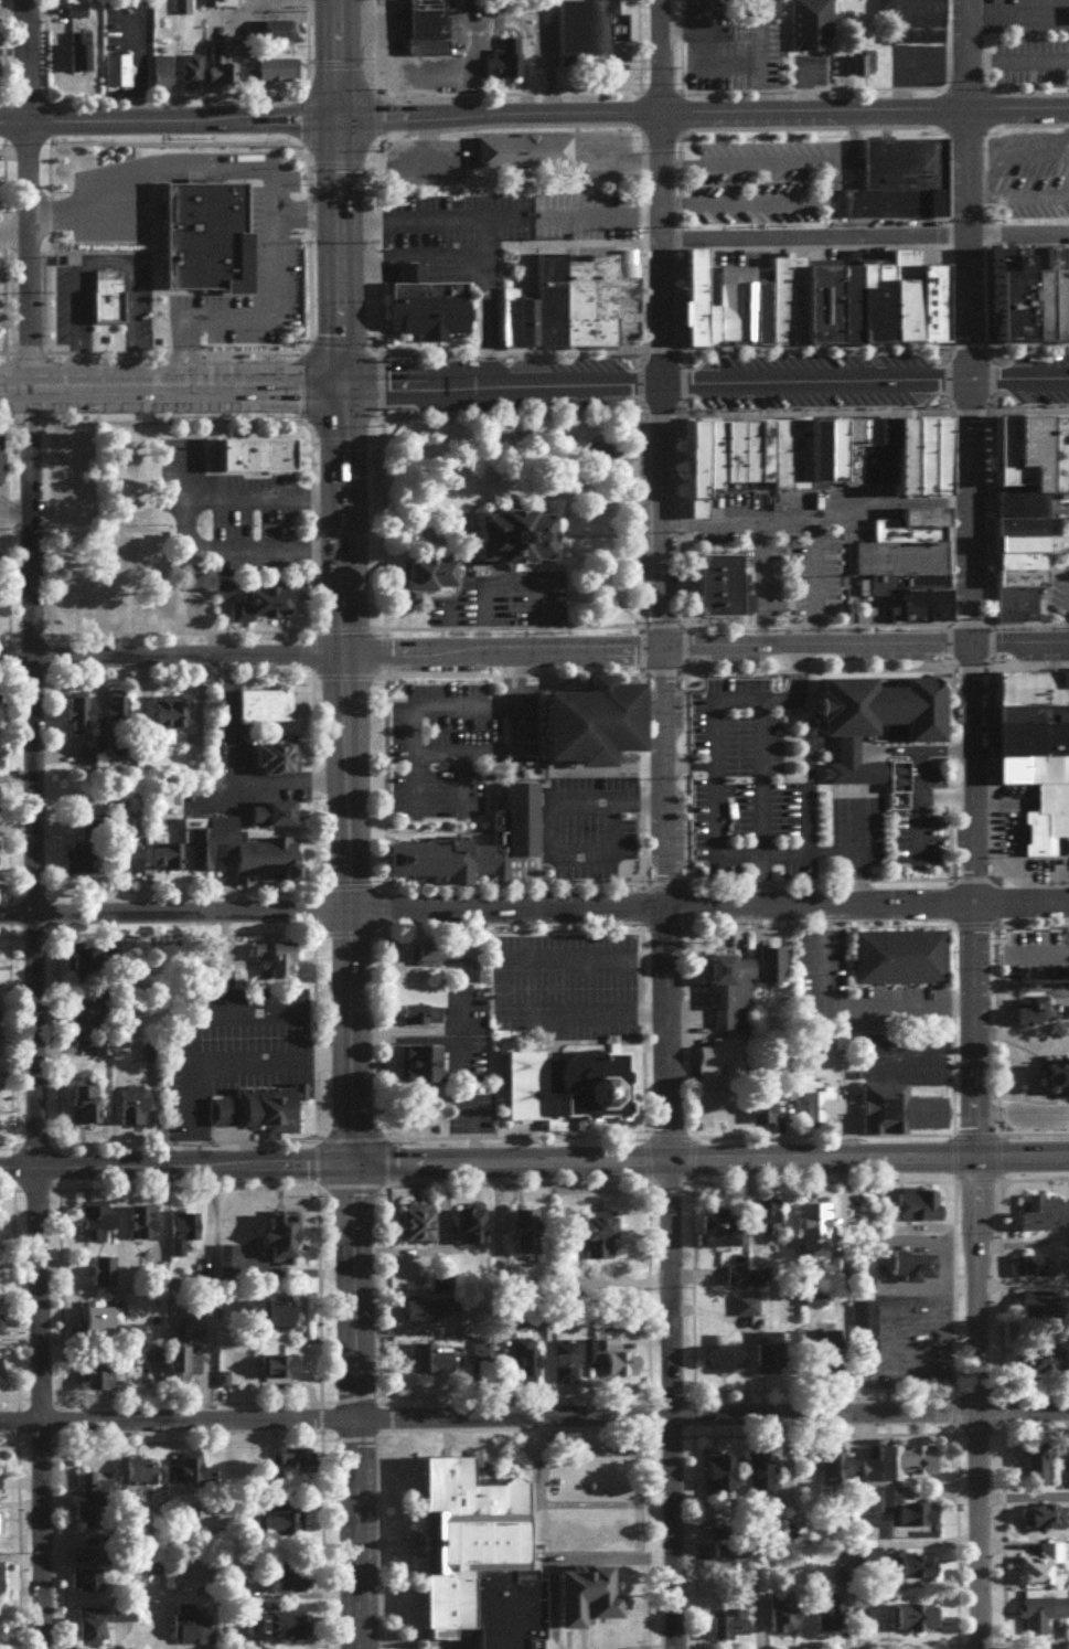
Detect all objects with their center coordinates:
building: (222, 2)
building: (177, 6)
building: (71, 7)
road: (9, 9)
building: (763, 9)
building: (910, 12)
parking lot: (1020, 14)
building: (79, 17)
parking lot: (701, 17)
parking lot: (237, 18)
road: (1002, 18)
building: (804, 22)
building: (424, 26)
parking lot: (389, 28)
building: (271, 29)
parking lot: (543, 32)
building: (588, 32)
building: (898, 32)
building: (923, 32)
street lamp: (1029, 33)
road: (373, 38)
parking lot: (470, 38)
parking lot: (120, 40)
road: (944, 42)
road: (39, 46)
road: (635, 46)
road: (677, 46)
road: (820, 47)
road: (9, 49)
building: (75, 51)
building: (242, 51)
road: (547, 56)
parking lot: (733, 56)
road: (905, 56)
road: (1017, 57)
road: (338, 58)
building: (500, 58)
parking lot: (1030, 60)
road: (824, 61)
parking lot: (912, 61)
building: (858, 63)
building: (271, 66)
parking lot: (806, 67)
building: (110, 68)
building: (188, 68)
building: (217, 70)
building: (157, 71)
building: (119, 75)
building: (279, 75)
road: (521, 75)
building: (164, 77)
road: (842, 82)
road: (169, 83)
road: (374, 85)
road: (809, 86)
road: (969, 87)
road: (243, 88)
road: (658, 88)
road: (184, 89)
road: (111, 91)
road: (211, 91)
road: (504, 91)
road: (1031, 91)
road: (216, 96)
road: (0, 97)
road: (994, 107)
road: (1016, 107)
road: (942, 108)
road: (637, 111)
road: (650, 111)
road: (678, 115)
road: (169, 118)
traffic signals: (338, 118)
parking lot: (771, 119)
road: (601, 123)
road: (963, 131)
road: (678, 134)
road: (658, 137)
building: (517, 150)
road: (9, 151)
building: (1029, 161)
parking lot: (1026, 171)
road: (269, 178)
parking lot: (760, 178)
road: (831, 178)
building: (895, 178)
road: (964, 188)
road: (658, 189)
building: (130, 194)
road: (18, 195)
road: (603, 212)
road: (304, 214)
parking lot: (582, 214)
road: (485, 227)
parking lot: (453, 231)
road: (9, 235)
building: (203, 238)
road: (863, 238)
road: (979, 240)
road: (340, 251)
road: (308, 253)
road: (413, 254)
road: (101, 258)
road: (405, 260)
building: (623, 260)
road: (361, 269)
road: (405, 269)
road: (430, 270)
building: (1063, 291)
building: (104, 294)
building: (899, 295)
building: (1041, 295)
building: (1007, 296)
road: (498, 299)
building: (784, 299)
building: (691, 300)
building: (734, 301)
building: (567, 302)
building: (870, 302)
building: (424, 304)
building: (827, 306)
building: (927, 306)
building: (759, 310)
building: (239, 313)
building: (506, 313)
building: (709, 323)
road: (961, 344)
road: (658, 347)
road: (439, 349)
street lamp: (1022, 350)
street lamp: (1055, 350)
road: (3, 351)
road: (169, 351)
road: (984, 375)
road: (1017, 376)
road: (640, 377)
road: (943, 377)
road: (377, 379)
road: (653, 380)
road: (682, 380)
traffic signals: (341, 383)
road: (170, 386)
road: (966, 393)
road: (660, 394)
street lamp: (1026, 407)
street lamp: (1059, 407)
road: (955, 408)
road: (977, 408)
road: (510, 409)
road: (651, 409)
road: (672, 409)
road: (271, 418)
road: (2, 422)
road: (20, 422)
road: (308, 438)
road: (335, 438)
road: (370, 438)
building: (1027, 449)
building: (762, 450)
building: (814, 450)
building: (847, 450)
building: (780, 451)
building: (831, 451)
building: (864, 451)
building: (881, 451)
building: (798, 453)
building: (728, 454)
building: (746, 454)
building: (1055, 455)
building: (253, 456)
building: (702, 456)
building: (1003, 456)
building: (926, 458)
building: (899, 459)
building: (2, 465)
road: (260, 496)
road: (11, 503)
building: (694, 504)
building: (1015, 504)
road: (1060, 508)
road: (815, 514)
road: (969, 514)
road: (662, 515)
road: (987, 515)
road: (381, 518)
road: (23, 521)
building: (910, 524)
building: (1030, 525)
road: (597, 533)
building: (509, 536)
parking lot: (797, 543)
building: (1031, 543)
road: (214, 547)
road: (558, 551)
building: (899, 556)
building: (1017, 562)
building: (430, 572)
road: (0, 573)
road: (601, 577)
building: (1016, 578)
road: (759, 581)
road: (810, 582)
building: (719, 587)
building: (905, 595)
parking lot: (1058, 595)
parking lot: (505, 599)
building: (1014, 602)
road: (1066, 605)
building: (264, 608)
road: (620, 623)
road: (652, 623)
road: (948, 623)
road: (959, 623)
road: (979, 623)
road: (674, 624)
road: (173, 630)
road: (6, 632)
road: (990, 642)
road: (656, 643)
road: (948, 643)
road: (1018, 643)
road: (684, 645)
road: (641, 646)
road: (383, 650)
road: (171, 652)
road: (969, 667)
road: (662, 669)
road: (792, 684)
building: (1033, 687)
road: (710, 699)
building: (265, 703)
building: (120, 712)
building: (1034, 712)
road: (227, 715)
building: (173, 719)
building: (0, 720)
building: (81, 720)
building: (590, 725)
building: (877, 726)
building: (1034, 737)
parking lot: (455, 744)
road: (438, 746)
building: (274, 757)
road: (664, 763)
building: (1033, 768)
road: (687, 769)
road: (990, 769)
road: (345, 775)
road: (287, 779)
road: (304, 781)
road: (1, 783)
building: (1046, 818)
road: (543, 819)
building: (276, 821)
parking lot: (587, 823)
building: (513, 824)
road: (831, 855)
building: (238, 857)
building: (168, 861)
building: (78, 864)
building: (131, 865)
road: (948, 876)
road: (970, 876)
road: (663, 880)
road: (758, 880)
road: (382, 882)
road: (373, 883)
road: (336, 884)
road: (173, 887)
road: (24, 890)
road: (6, 891)
road: (917, 901)
road: (1019, 901)
road: (307, 905)
road: (430, 908)
road: (1, 909)
road: (1033, 923)
road: (974, 924)
road: (503, 929)
road: (340, 932)
road: (178, 934)
road: (7, 936)
road: (28, 936)
building: (439, 960)
building: (904, 964)
building: (279, 967)
building: (89, 968)
building: (776, 971)
building: (735, 1000)
road: (848, 1007)
road: (215, 1009)
building: (1034, 1017)
building: (423, 1020)
building: (90, 1022)
road: (307, 1028)
road: (953, 1029)
road: (377, 1030)
road: (666, 1033)
road: (2, 1035)
road: (217, 1065)
building: (723, 1070)
building: (426, 1071)
building: (1057, 1081)
building: (574, 1094)
building: (253, 1106)
building: (88, 1111)
building: (137, 1111)
building: (765, 1117)
building: (829, 1118)
building: (907, 1118)
road: (463, 1131)
road: (510, 1135)
road: (971, 1136)
road: (7, 1142)
road: (28, 1142)
road: (29, 1151)
road: (1020, 1156)
road: (821, 1160)
road: (507, 1166)
road: (172, 1169)
traffic signals: (346, 1169)
building: (920, 1211)
building: (1044, 1219)
building: (770, 1223)
building: (815, 1227)
building: (99, 1228)
building: (147, 1230)
building: (420, 1230)
building: (473, 1230)
building: (601, 1233)
building: (526, 1236)
building: (721, 1236)
building: (183, 1237)
building: (284, 1243)
road: (874, 1263)
building: (228, 1269)
road: (289, 1269)
building: (1039, 1272)
building: (917, 1273)
building: (105, 1278)
building: (1039, 1311)
building: (431, 1318)
building: (271, 1319)
building: (862, 1321)
building: (105, 1328)
building: (0, 1332)
building: (184, 1357)
building: (770, 1359)
building: (829, 1363)
road: (916, 1363)
building: (727, 1364)
building: (435, 1366)
building: (524, 1366)
building: (1049, 1368)
building: (566, 1369)
building: (624, 1372)
building: (284, 1373)
building: (1, 1379)
building: (100, 1383)
road: (670, 1406)
road: (354, 1408)
road: (1022, 1413)
road: (487, 1419)
building: (299, 1466)
building: (900, 1471)
building: (723, 1476)
building: (196, 1477)
building: (837, 1477)
building: (763, 1479)
building: (141, 1480)
building: (1065, 1485)
road: (1022, 1493)
building: (93, 1504)
building: (1046, 1523)
building: (280, 1525)
building: (917, 1528)
building: (0, 1529)
building: (470, 1566)
building: (1041, 1571)
building: (917, 1573)
building: (287, 1581)
building: (1, 1582)
building: (580, 1609)
building: (124, 1619)
building: (1043, 1619)
building: (783, 1620)
building: (917, 1624)
building: (730, 1628)
building: (90, 1630)
building: (286, 1630)
building: (193, 1634)
building: (1, 1636)

